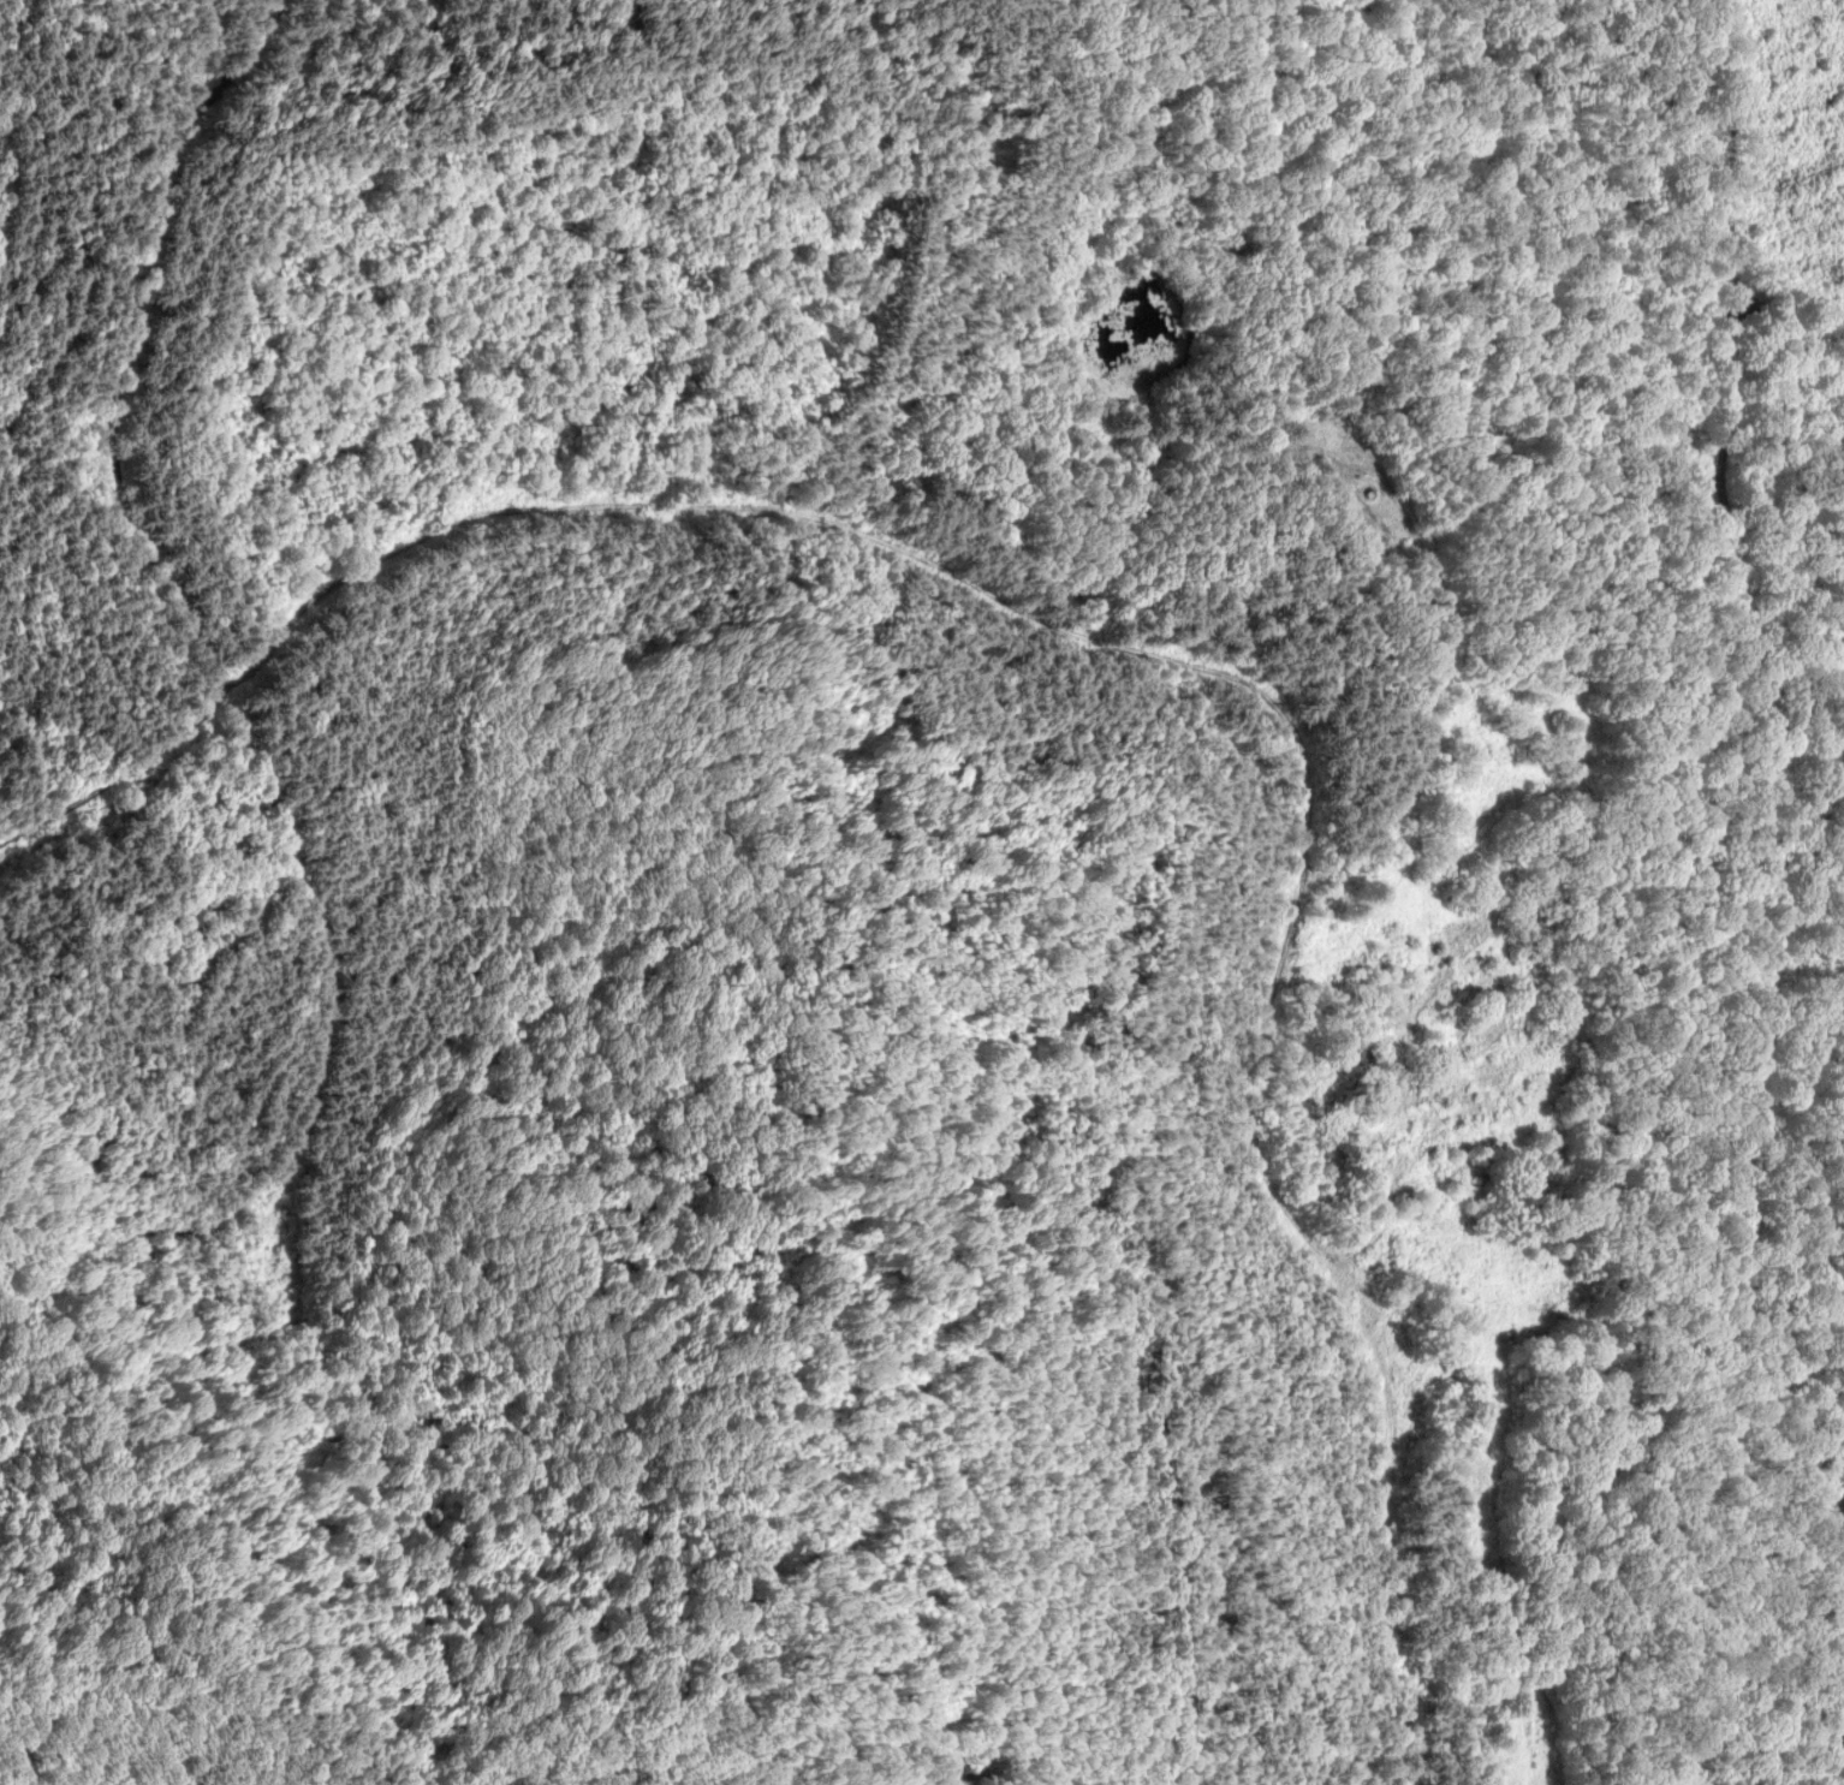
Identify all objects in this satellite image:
road: (135, 345)
road: (1790, 380)
road: (715, 508)
road: (1726, 630)
road: (1455, 1077)
road: (1630, 1515)

